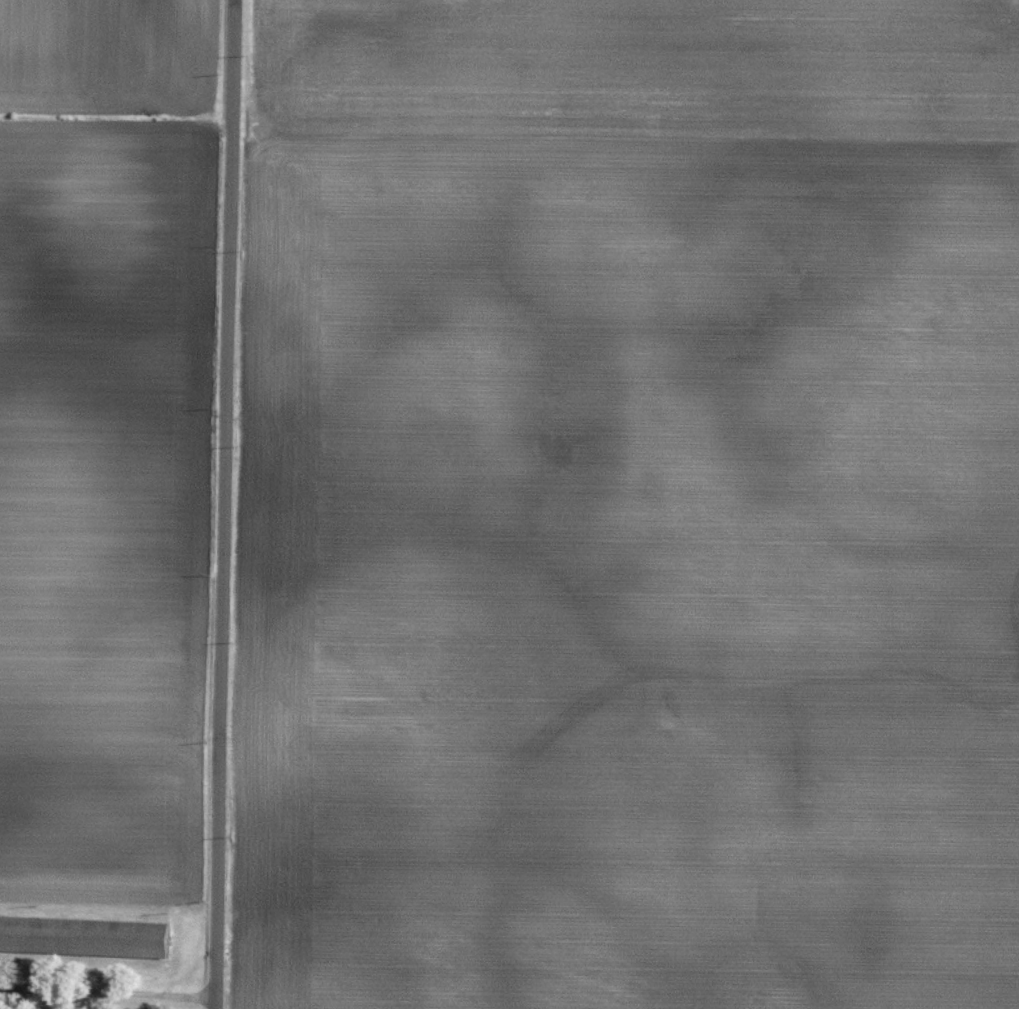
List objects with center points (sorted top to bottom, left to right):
road: (224, 504)
building: (86, 933)
road: (108, 992)

